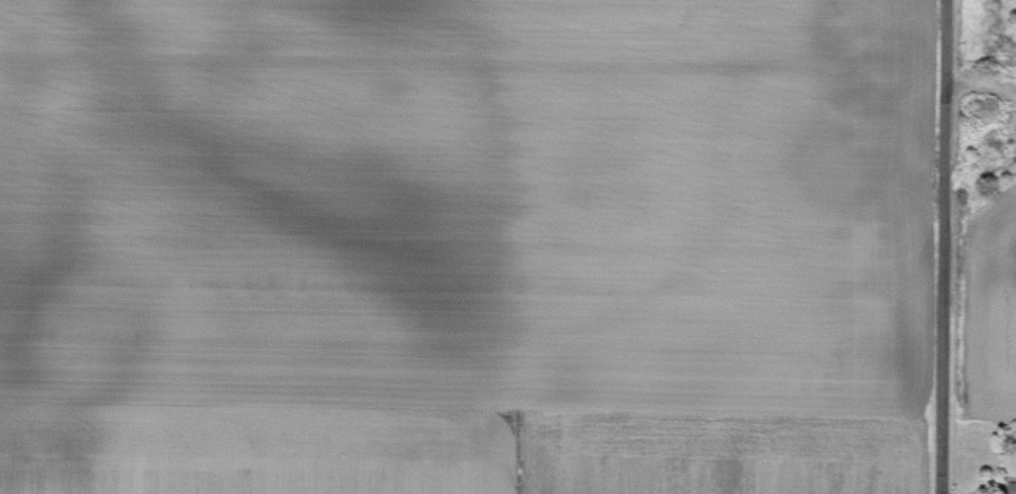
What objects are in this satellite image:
road: (981, 99)
road: (945, 246)
building: (1014, 488)

